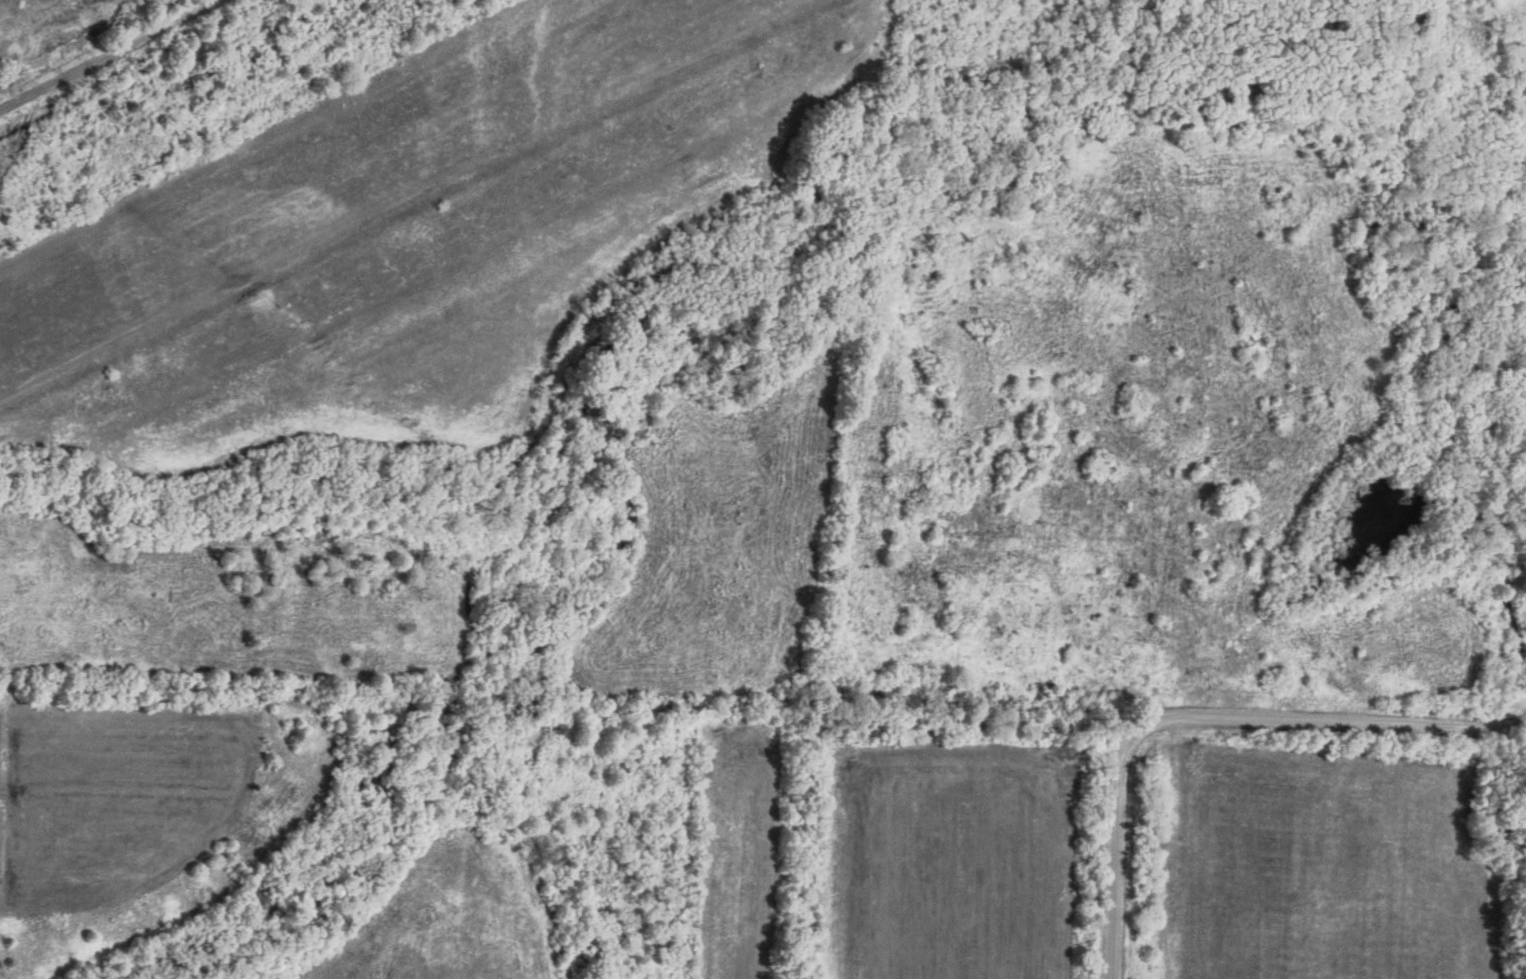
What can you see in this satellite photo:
road: (1203, 714)

